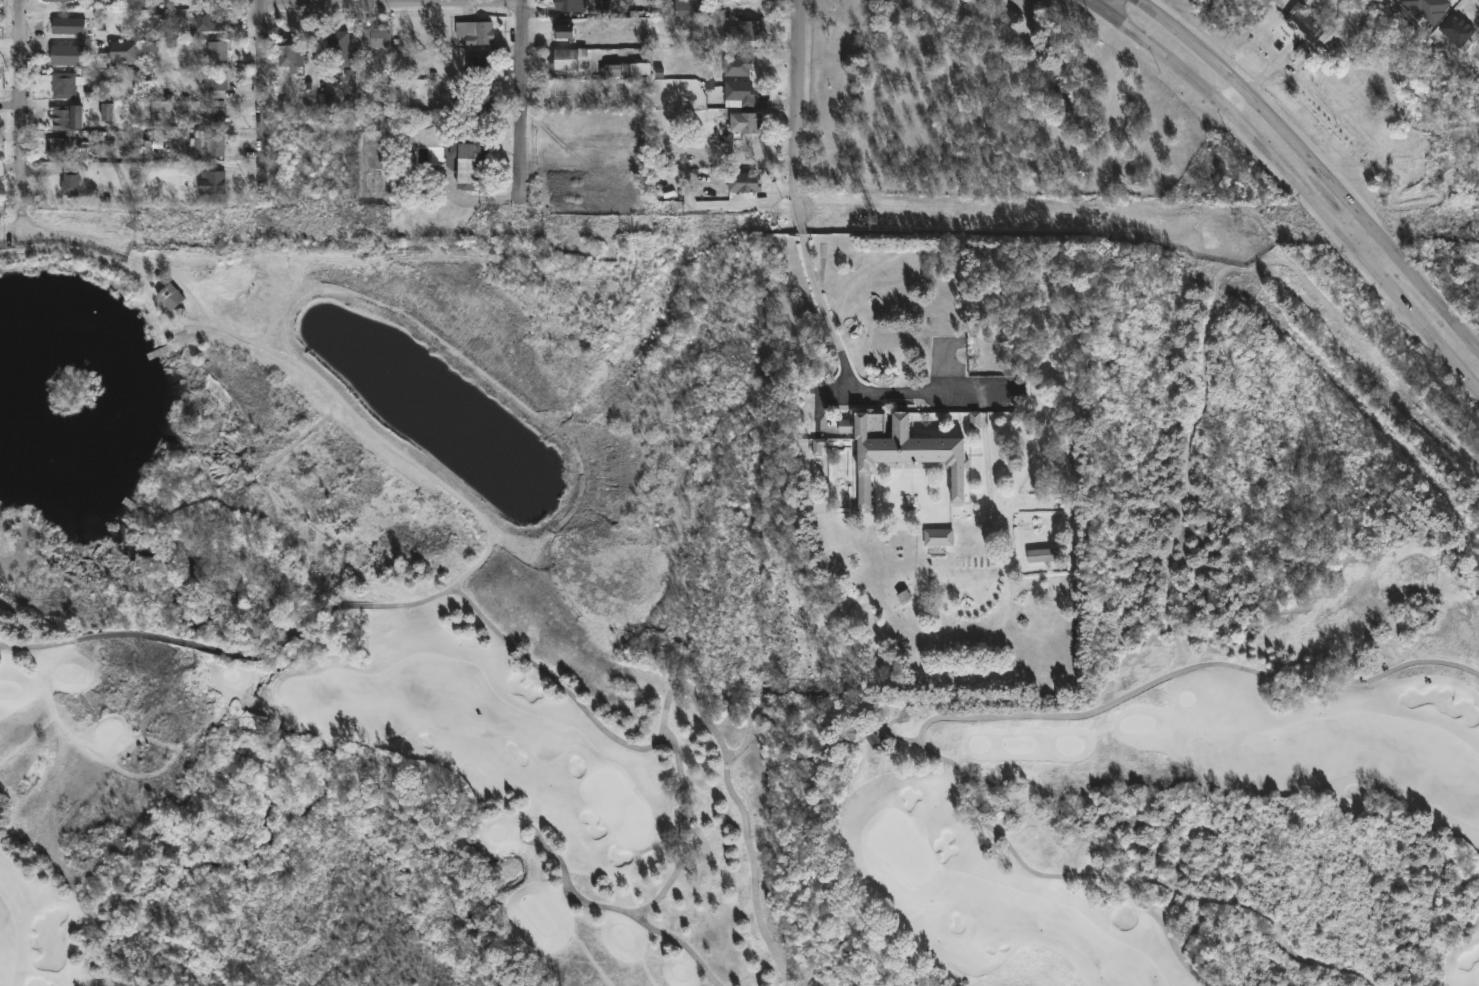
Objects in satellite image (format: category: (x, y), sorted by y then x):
building: (58, 0)
road: (394, 1)
building: (206, 3)
building: (570, 5)
building: (692, 7)
building: (211, 20)
building: (1304, 22)
building: (68, 25)
building: (750, 29)
building: (1457, 30)
building: (474, 33)
building: (563, 35)
building: (377, 37)
building: (713, 40)
building: (338, 49)
building: (124, 51)
building: (217, 51)
building: (290, 54)
building: (67, 55)
building: (568, 58)
building: (739, 64)
building: (478, 65)
building: (605, 68)
building: (64, 84)
building: (216, 84)
building: (564, 88)
building: (741, 92)
road: (266, 95)
building: (475, 95)
road: (523, 98)
building: (216, 114)
building: (62, 117)
road: (23, 120)
building: (746, 122)
building: (337, 124)
road: (12, 134)
building: (210, 145)
building: (59, 147)
building: (467, 159)
road: (1314, 168)
road: (1291, 177)
building: (70, 179)
building: (745, 182)
building: (213, 183)
road: (795, 183)
road: (1345, 219)
power tower: (871, 221)
power tower: (1239, 224)
power tower: (499, 227)
power tower: (139, 229)
building: (169, 297)
road: (914, 392)
road: (816, 396)
building: (903, 451)
building: (939, 537)
building: (1044, 556)
road: (521, 654)
road: (1001, 719)
park: (740, 798)
park: (902, 848)

